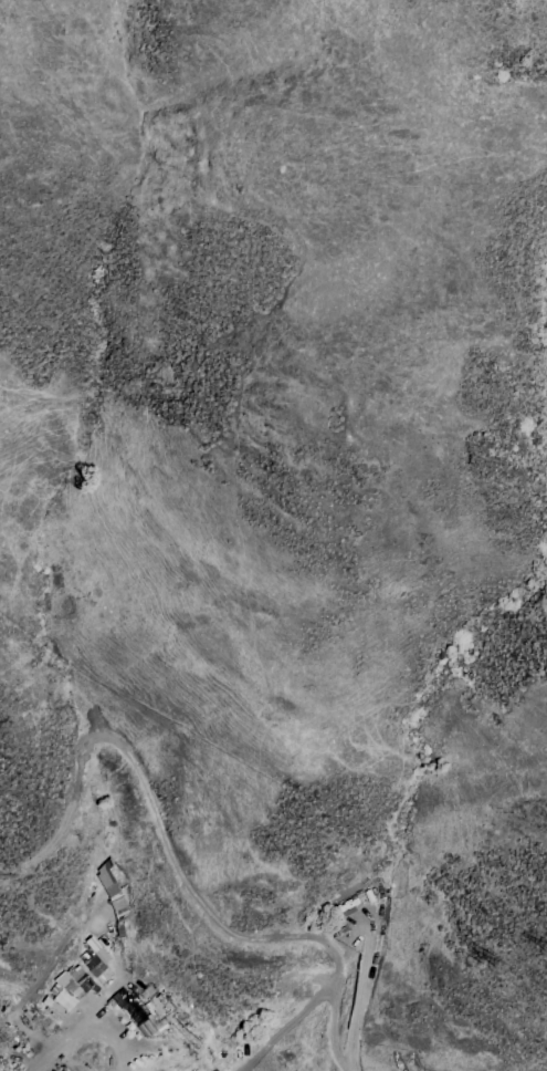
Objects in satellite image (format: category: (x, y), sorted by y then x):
building: (106, 878)
building: (95, 964)
power tower: (502, 966)
building: (66, 990)
building: (117, 991)
building: (137, 1013)

